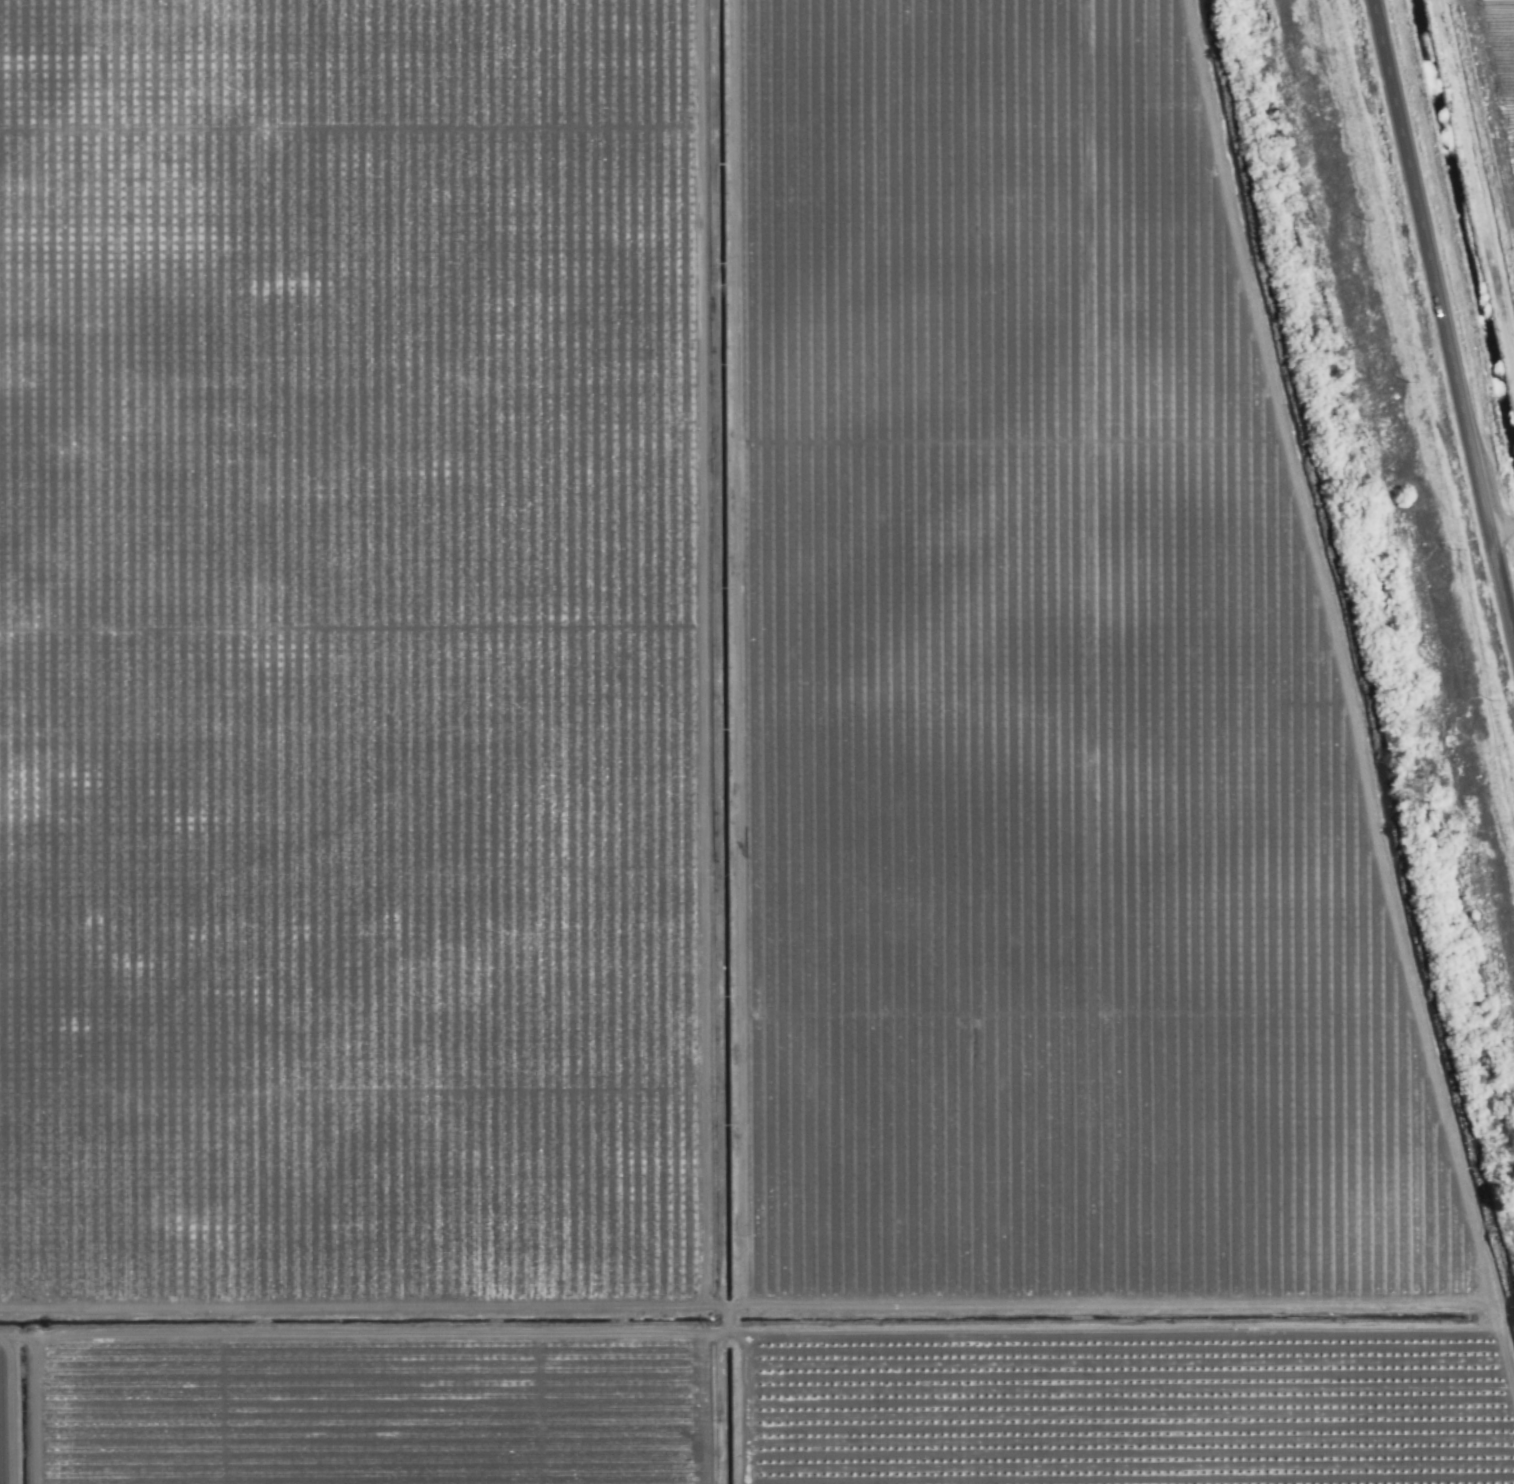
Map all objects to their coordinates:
road: (1447, 293)
road: (1507, 525)

